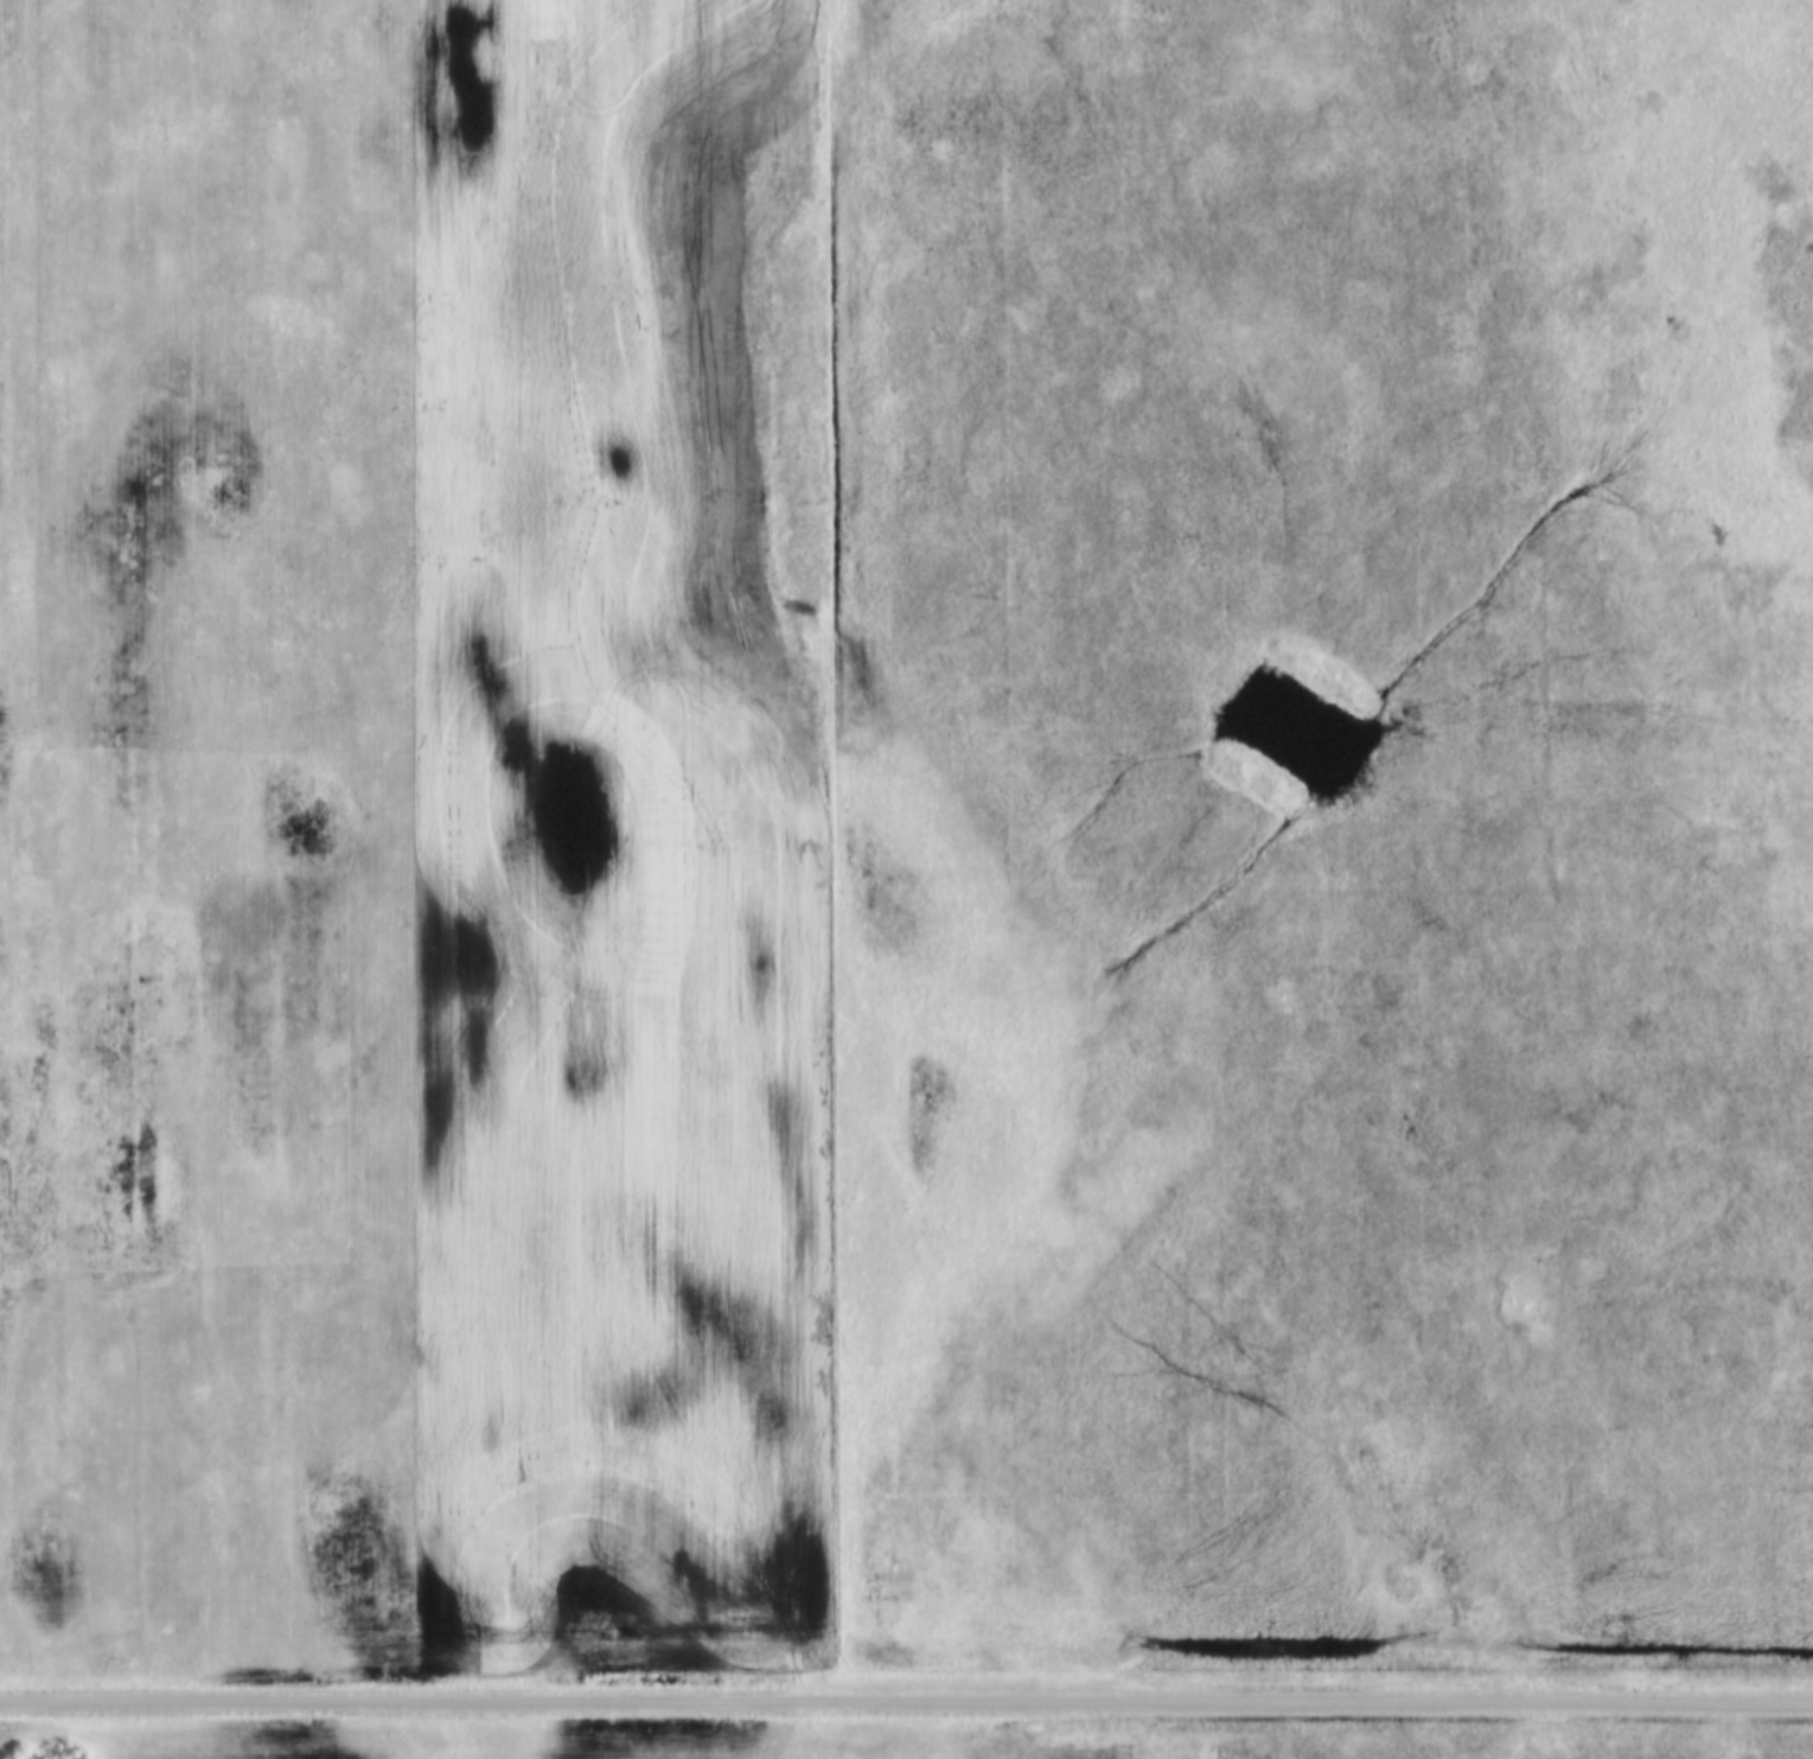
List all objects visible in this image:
road: (906, 1707)

